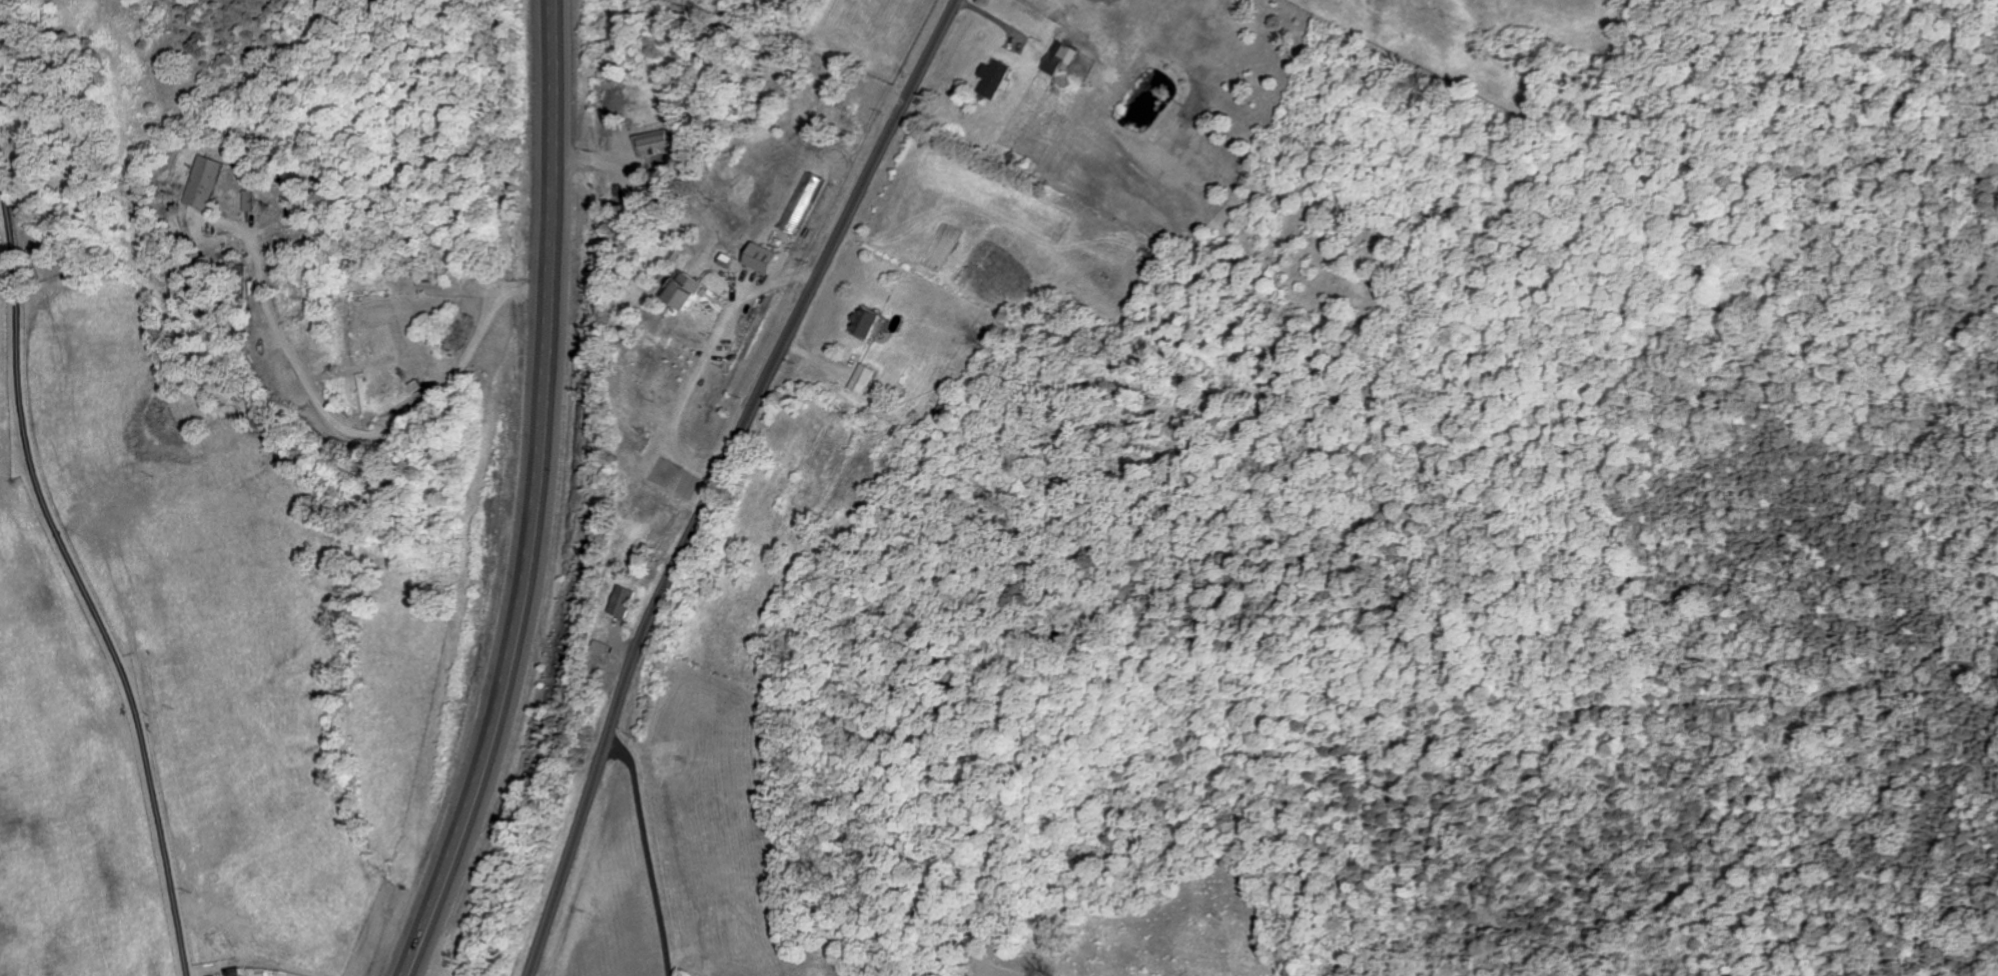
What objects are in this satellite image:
building: (1063, 58)
building: (997, 77)
building: (655, 142)
building: (206, 182)
building: (251, 200)
building: (764, 257)
building: (688, 290)
building: (872, 323)
building: (865, 378)
building: (941, 418)
road: (718, 477)
road: (528, 495)
building: (625, 601)
road: (651, 851)

